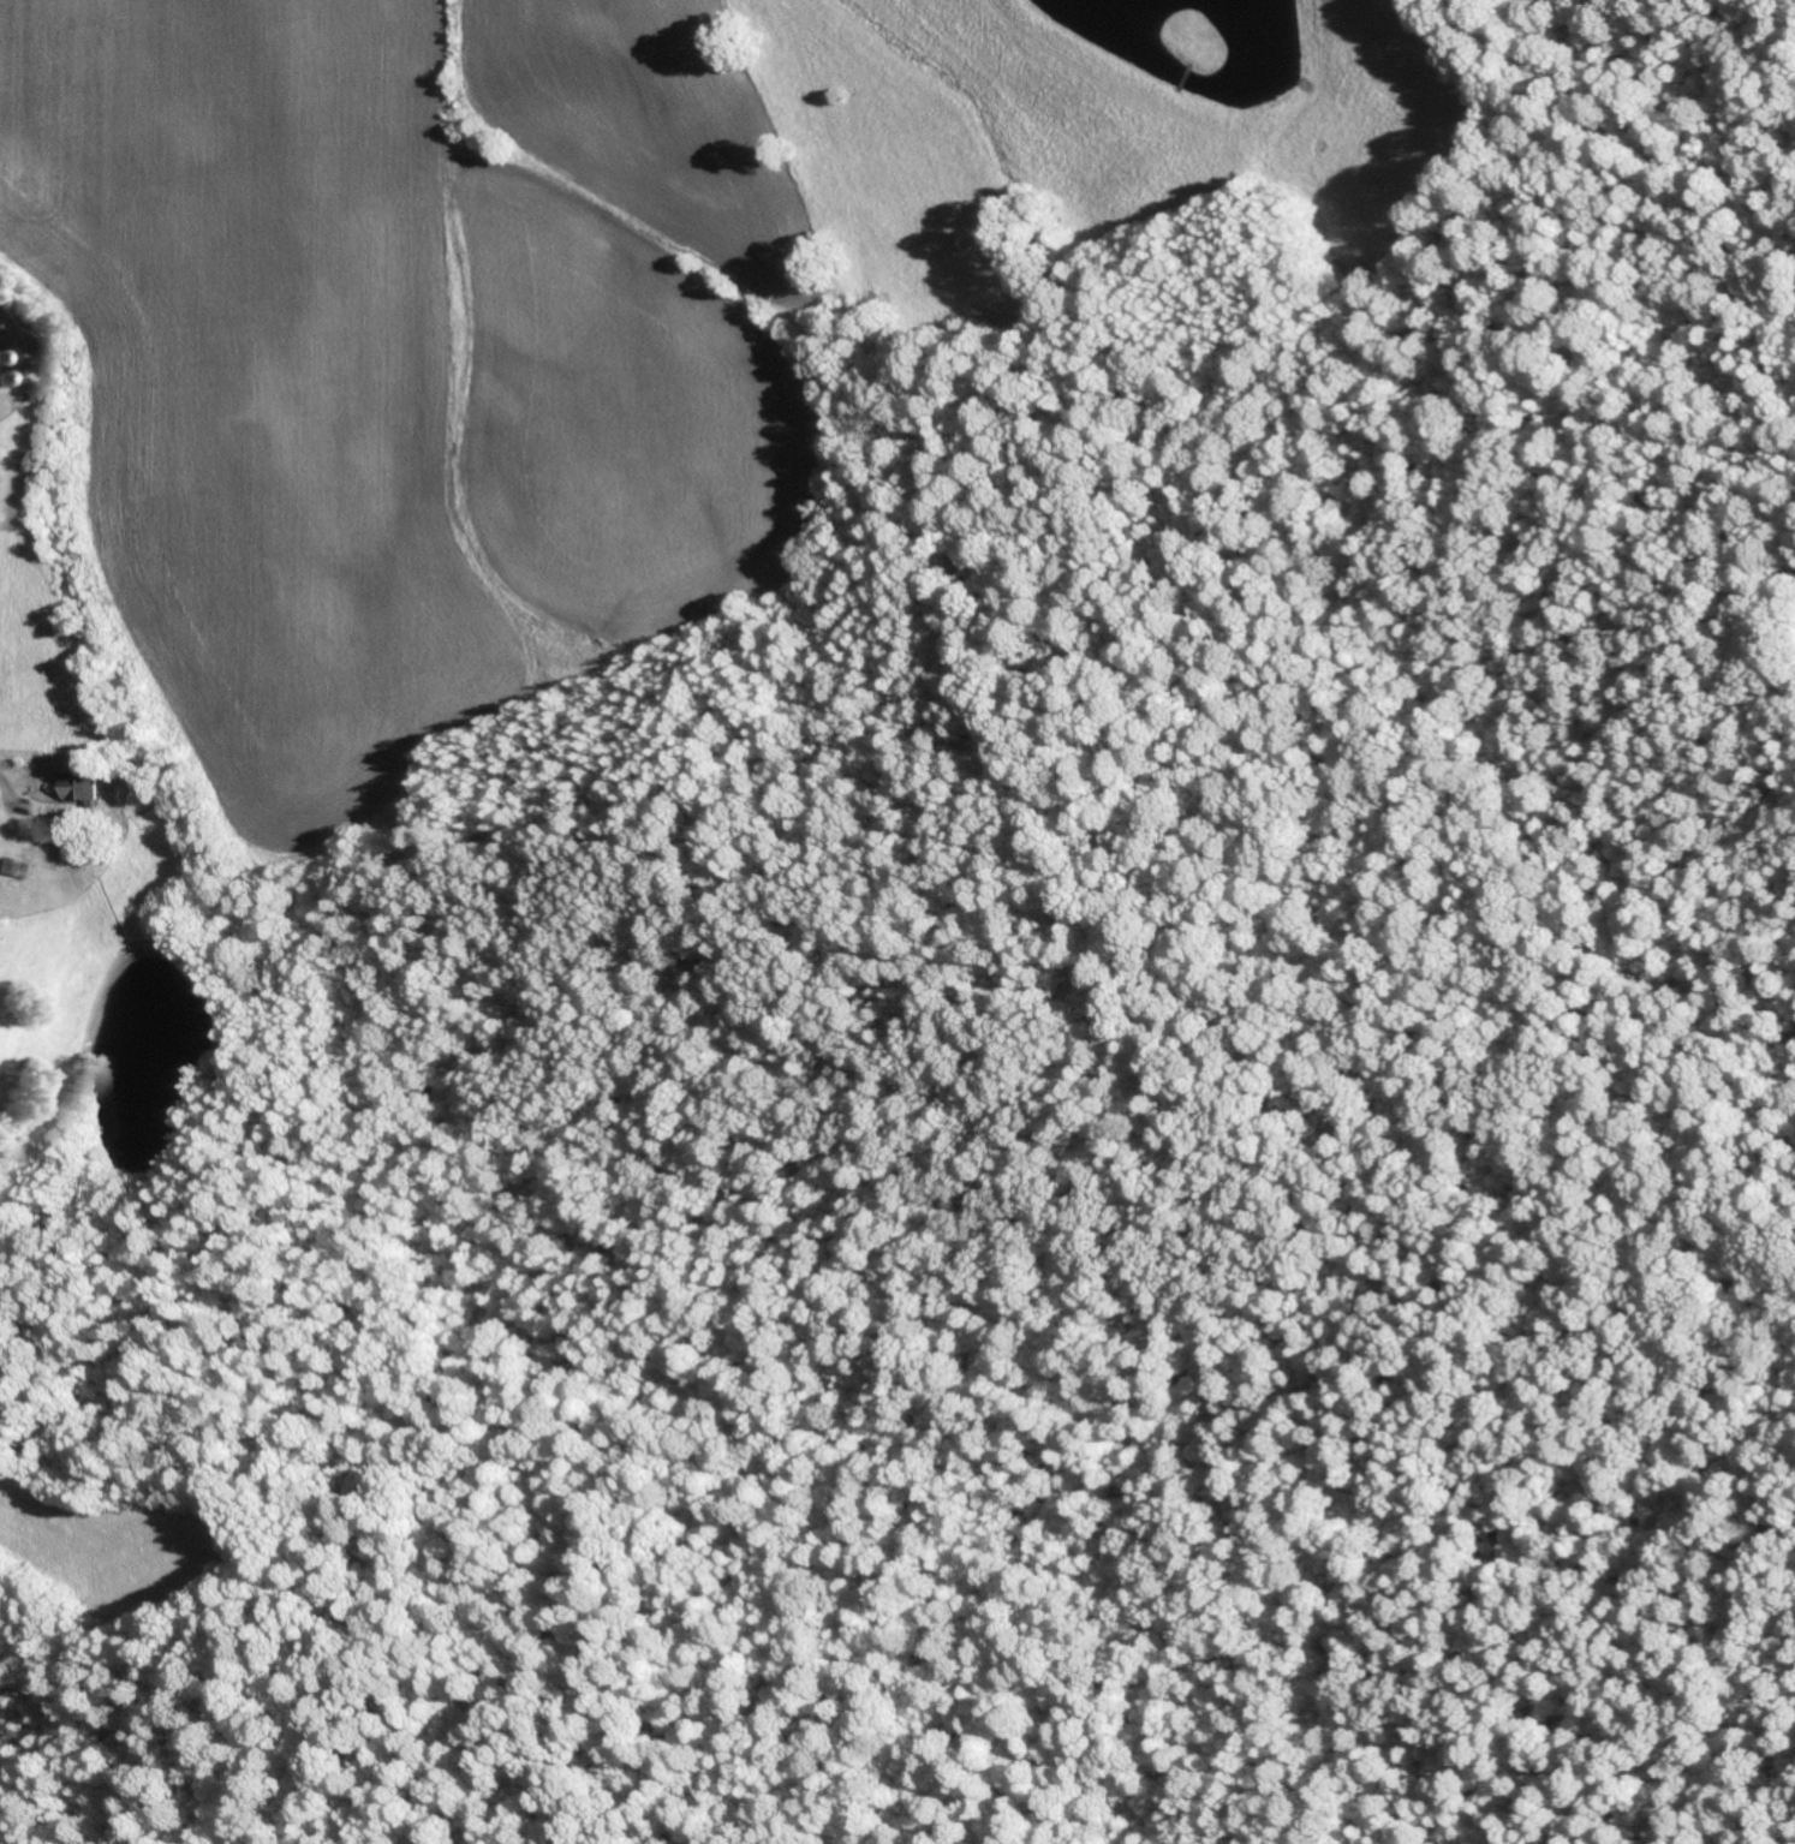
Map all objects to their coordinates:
building: (85, 788)

